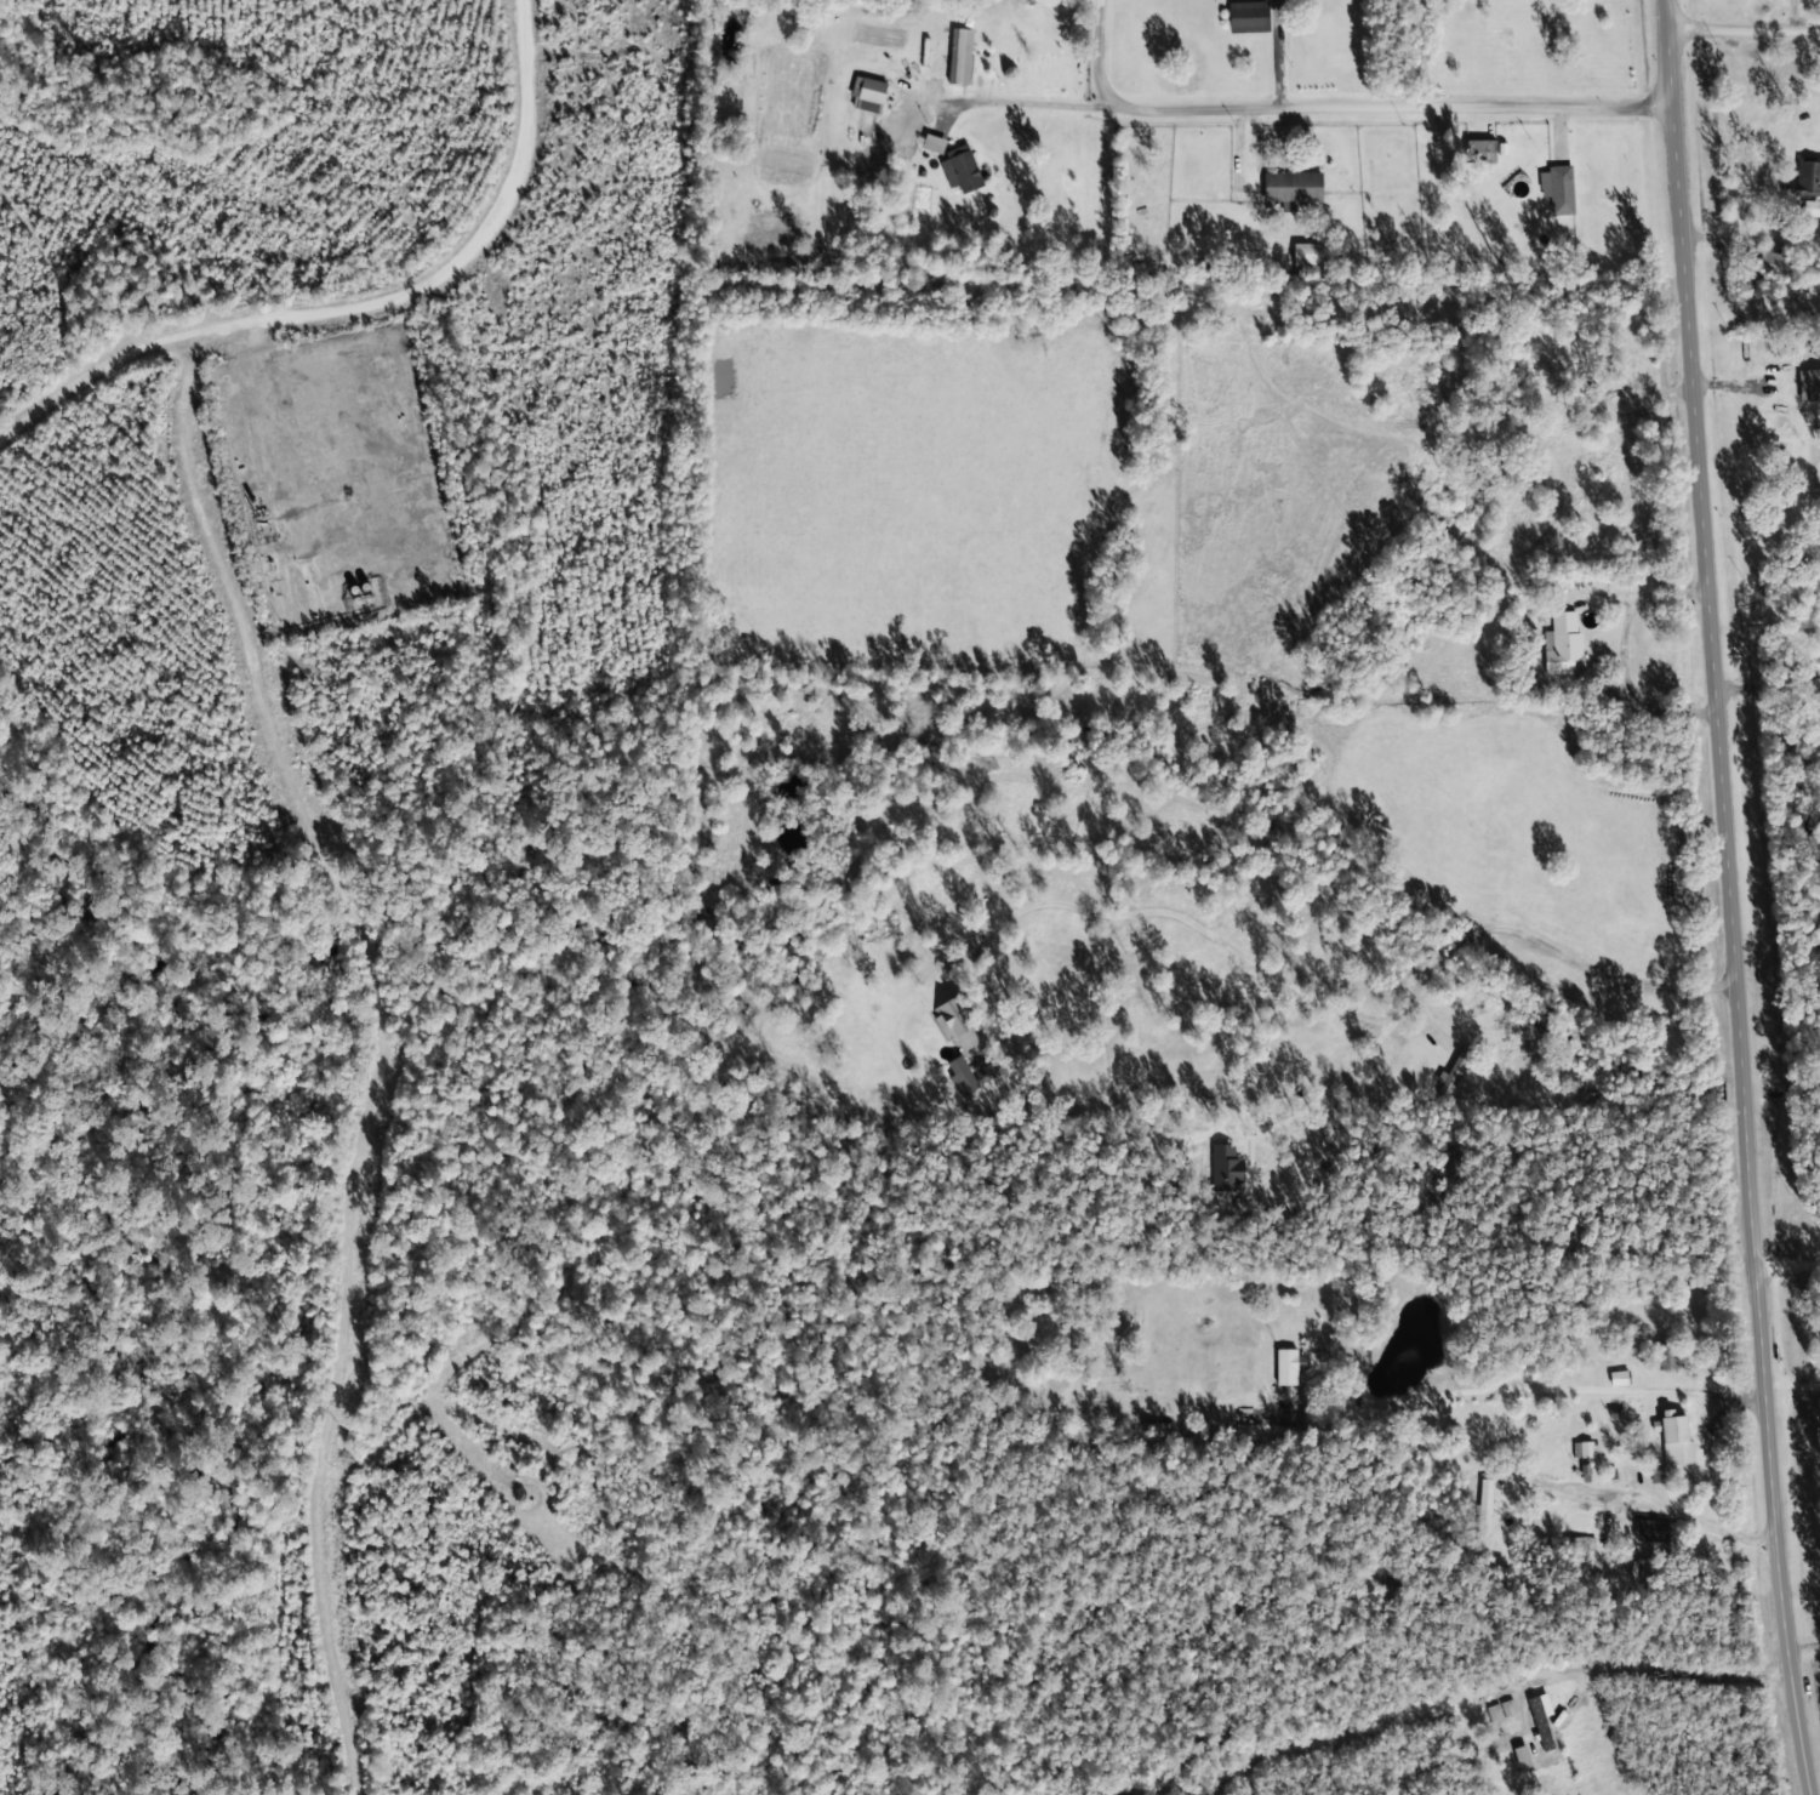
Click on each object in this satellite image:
building: (1246, 18)
road: (1741, 29)
building: (959, 57)
road: (1376, 63)
building: (868, 96)
building: (931, 146)
building: (1478, 153)
building: (962, 170)
building: (1807, 177)
building: (1290, 188)
building: (1556, 190)
building: (1768, 264)
road: (348, 312)
building: (1808, 386)
building: (384, 391)
building: (1562, 645)
road: (1724, 899)
building: (957, 1028)
building: (1454, 1072)
building: (958, 1077)
building: (884, 1105)
road: (1787, 1270)
building: (1664, 1356)
building: (1285, 1368)
building: (1616, 1378)
building: (1673, 1442)
building: (1584, 1449)
building: (1483, 1508)
building: (1649, 1532)
building: (1574, 1545)
building: (1537, 1723)
building: (1519, 1759)

